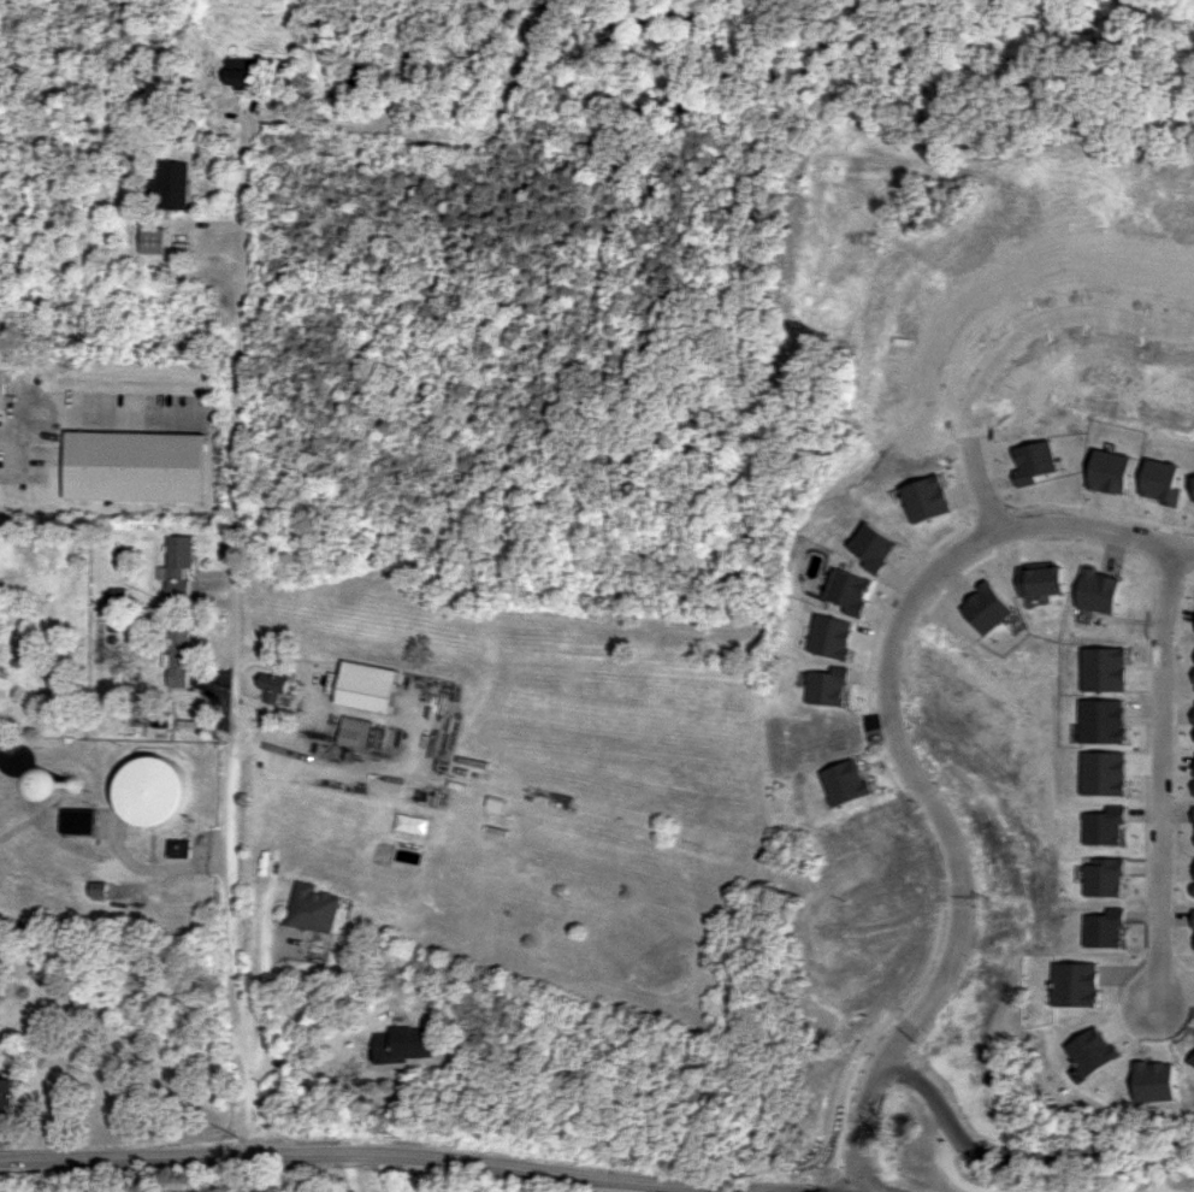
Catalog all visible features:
building: (240, 71)
building: (170, 184)
building: (150, 236)
road: (1004, 346)
building: (1, 386)
road: (95, 413)
building: (134, 466)
building: (1111, 471)
building: (1164, 482)
road: (237, 498)
building: (176, 565)
building: (1040, 578)
building: (1098, 590)
building: (985, 607)
building: (831, 637)
building: (179, 657)
road: (288, 662)
building: (273, 686)
building: (366, 686)
building: (826, 686)
building: (354, 731)
road: (904, 754)
road: (406, 769)
road: (1157, 779)
building: (845, 781)
building: (70, 785)
building: (152, 791)
building: (81, 821)
building: (406, 821)
building: (178, 848)
building: (101, 889)
building: (315, 908)
road: (268, 1002)
building: (408, 1044)
road: (311, 1045)
building: (1093, 1051)
building: (7, 1093)
road: (400, 1152)
road: (1017, 1157)
road: (952, 1170)
road: (353, 1172)

